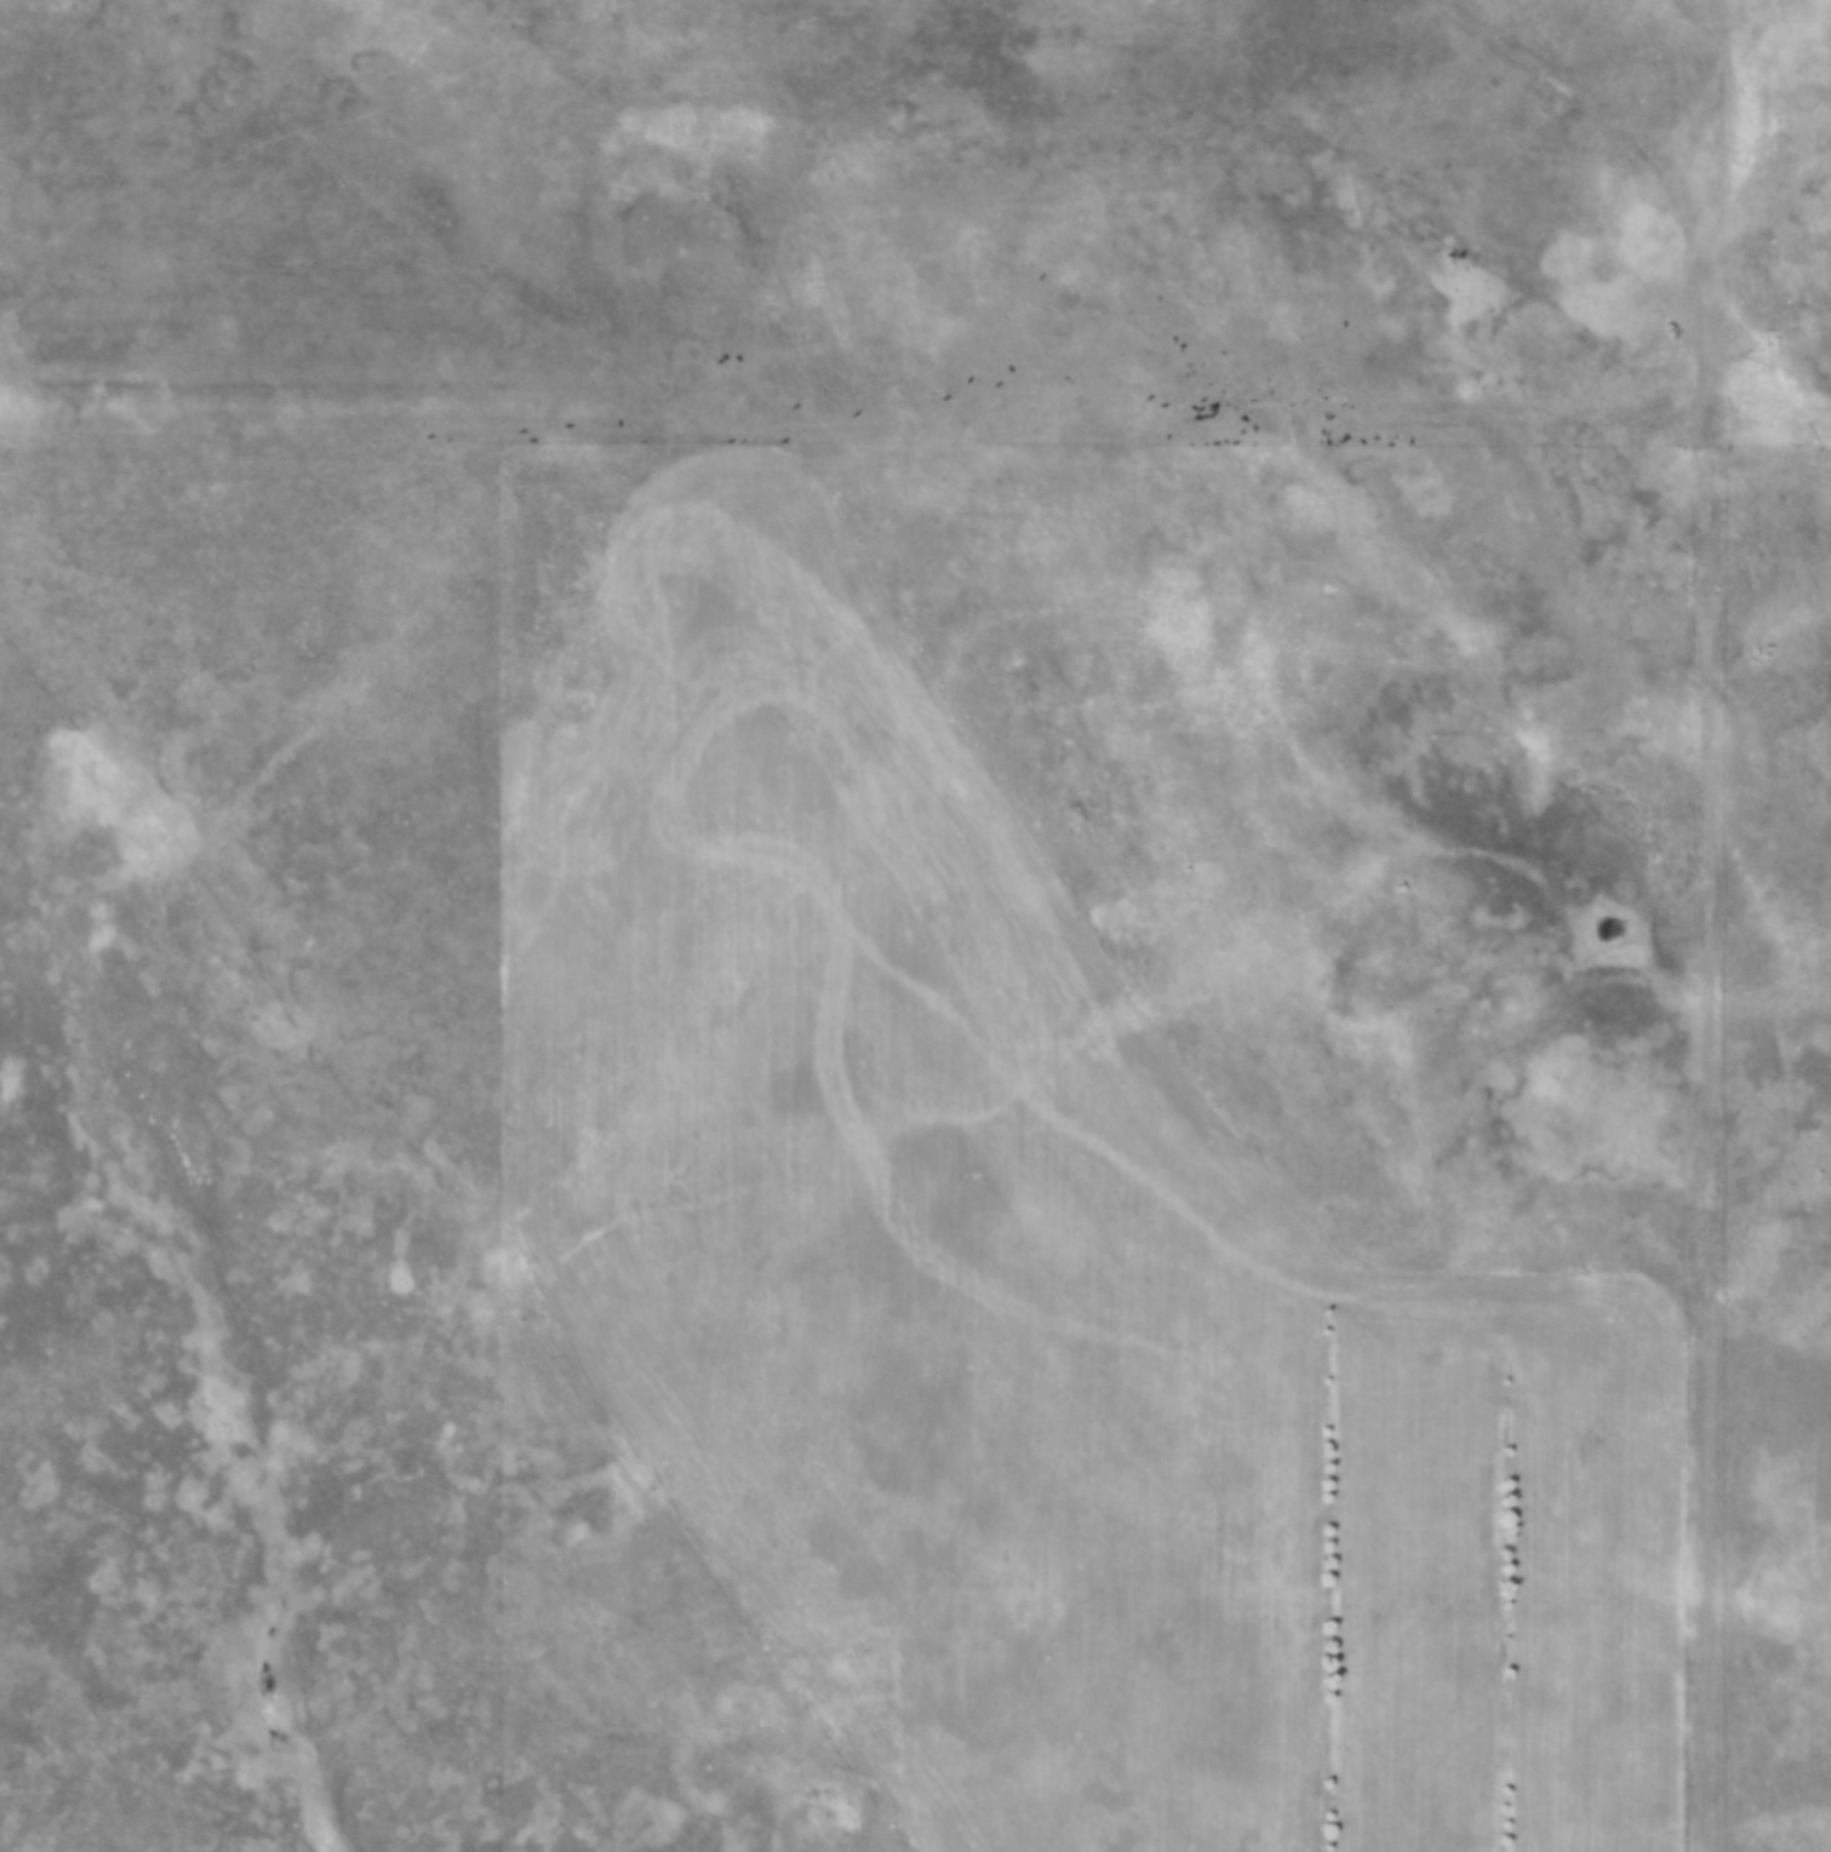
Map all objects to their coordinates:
road: (1704, 868)

